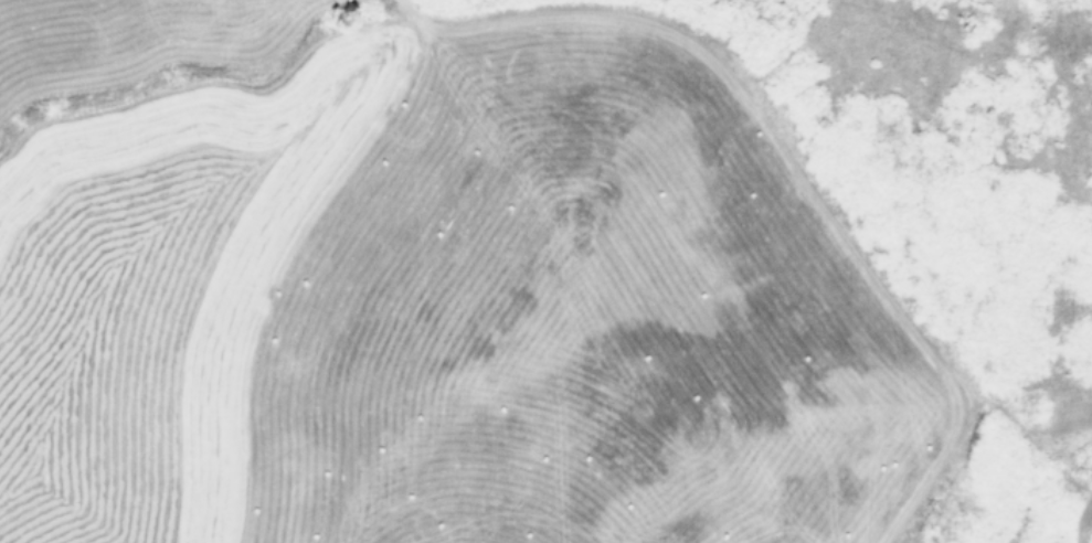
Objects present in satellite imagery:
crop: (545, 271)

